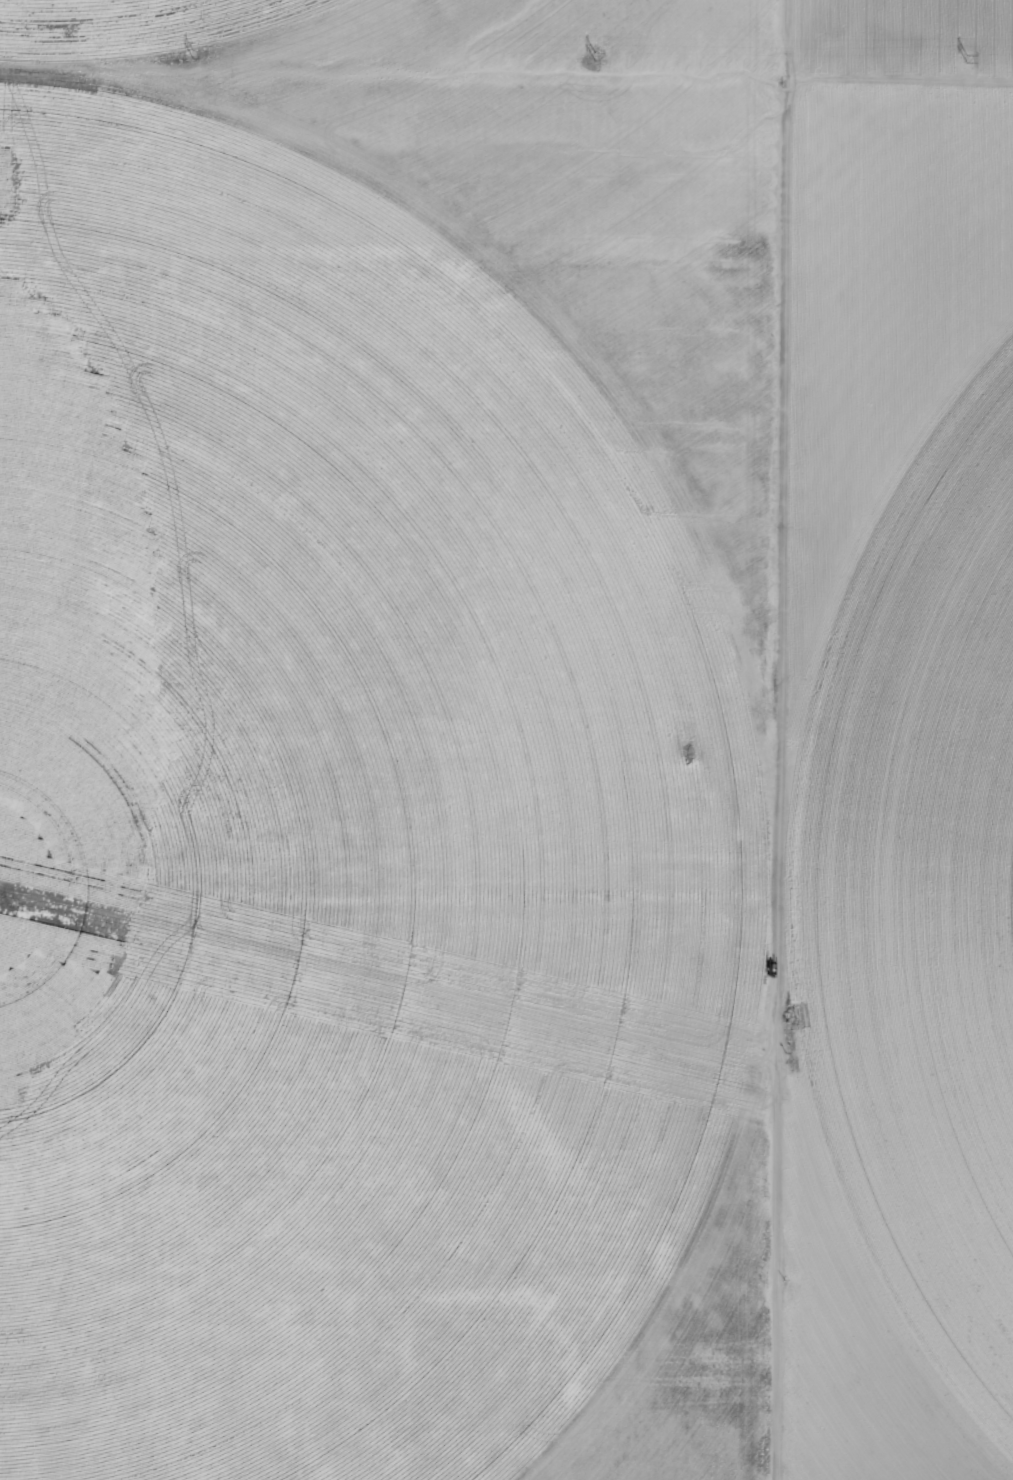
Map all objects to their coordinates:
power tower: (592, 54)
power tower: (961, 56)
power tower: (188, 57)
road: (842, 73)

